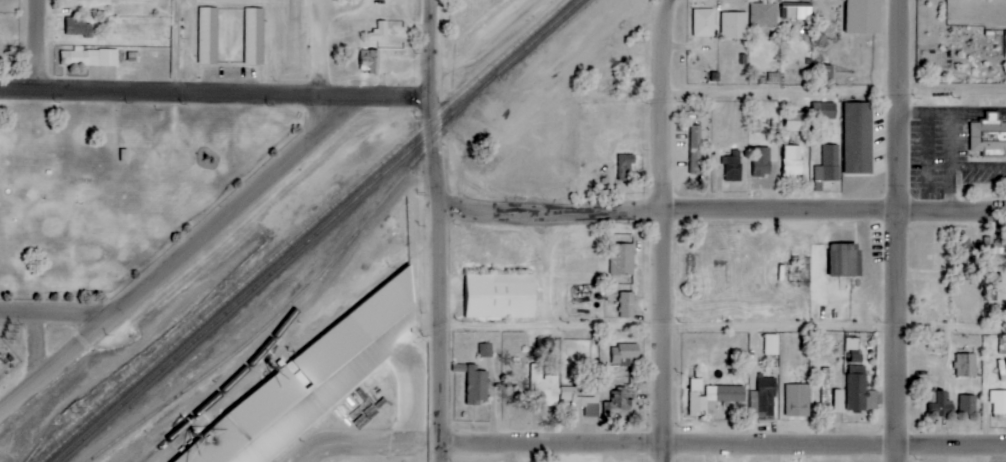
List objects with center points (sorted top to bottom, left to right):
building: (797, 13)
building: (762, 14)
building: (862, 16)
building: (702, 22)
railway: (552, 23)
building: (732, 25)
building: (78, 26)
building: (377, 33)
building: (208, 36)
building: (254, 37)
road: (34, 44)
road: (493, 45)
road: (175, 46)
road: (318, 48)
building: (89, 58)
building: (369, 61)
building: (821, 74)
road: (215, 94)
road: (833, 95)
building: (824, 111)
building: (797, 122)
building: (989, 137)
building: (858, 138)
building: (696, 150)
building: (759, 161)
building: (794, 162)
building: (826, 166)
building: (626, 167)
building: (730, 169)
road: (247, 194)
road: (722, 216)
railway: (303, 230)
road: (439, 230)
road: (660, 230)
road: (896, 230)
railway: (291, 254)
building: (623, 260)
building: (842, 260)
building: (929, 269)
railway: (319, 278)
building: (500, 296)
building: (627, 306)
road: (53, 314)
road: (722, 330)
power tower: (8, 332)
building: (772, 345)
road: (71, 346)
building: (545, 346)
building: (626, 355)
railway: (224, 360)
building: (966, 365)
building: (826, 378)
building: (858, 379)
building: (305, 385)
building: (477, 386)
building: (543, 388)
building: (726, 394)
building: (583, 396)
building: (798, 401)
building: (839, 401)
building: (998, 402)
building: (941, 404)
building: (697, 405)
building: (968, 405)
building: (618, 406)
power tower: (72, 410)
road: (377, 447)
road: (721, 448)

